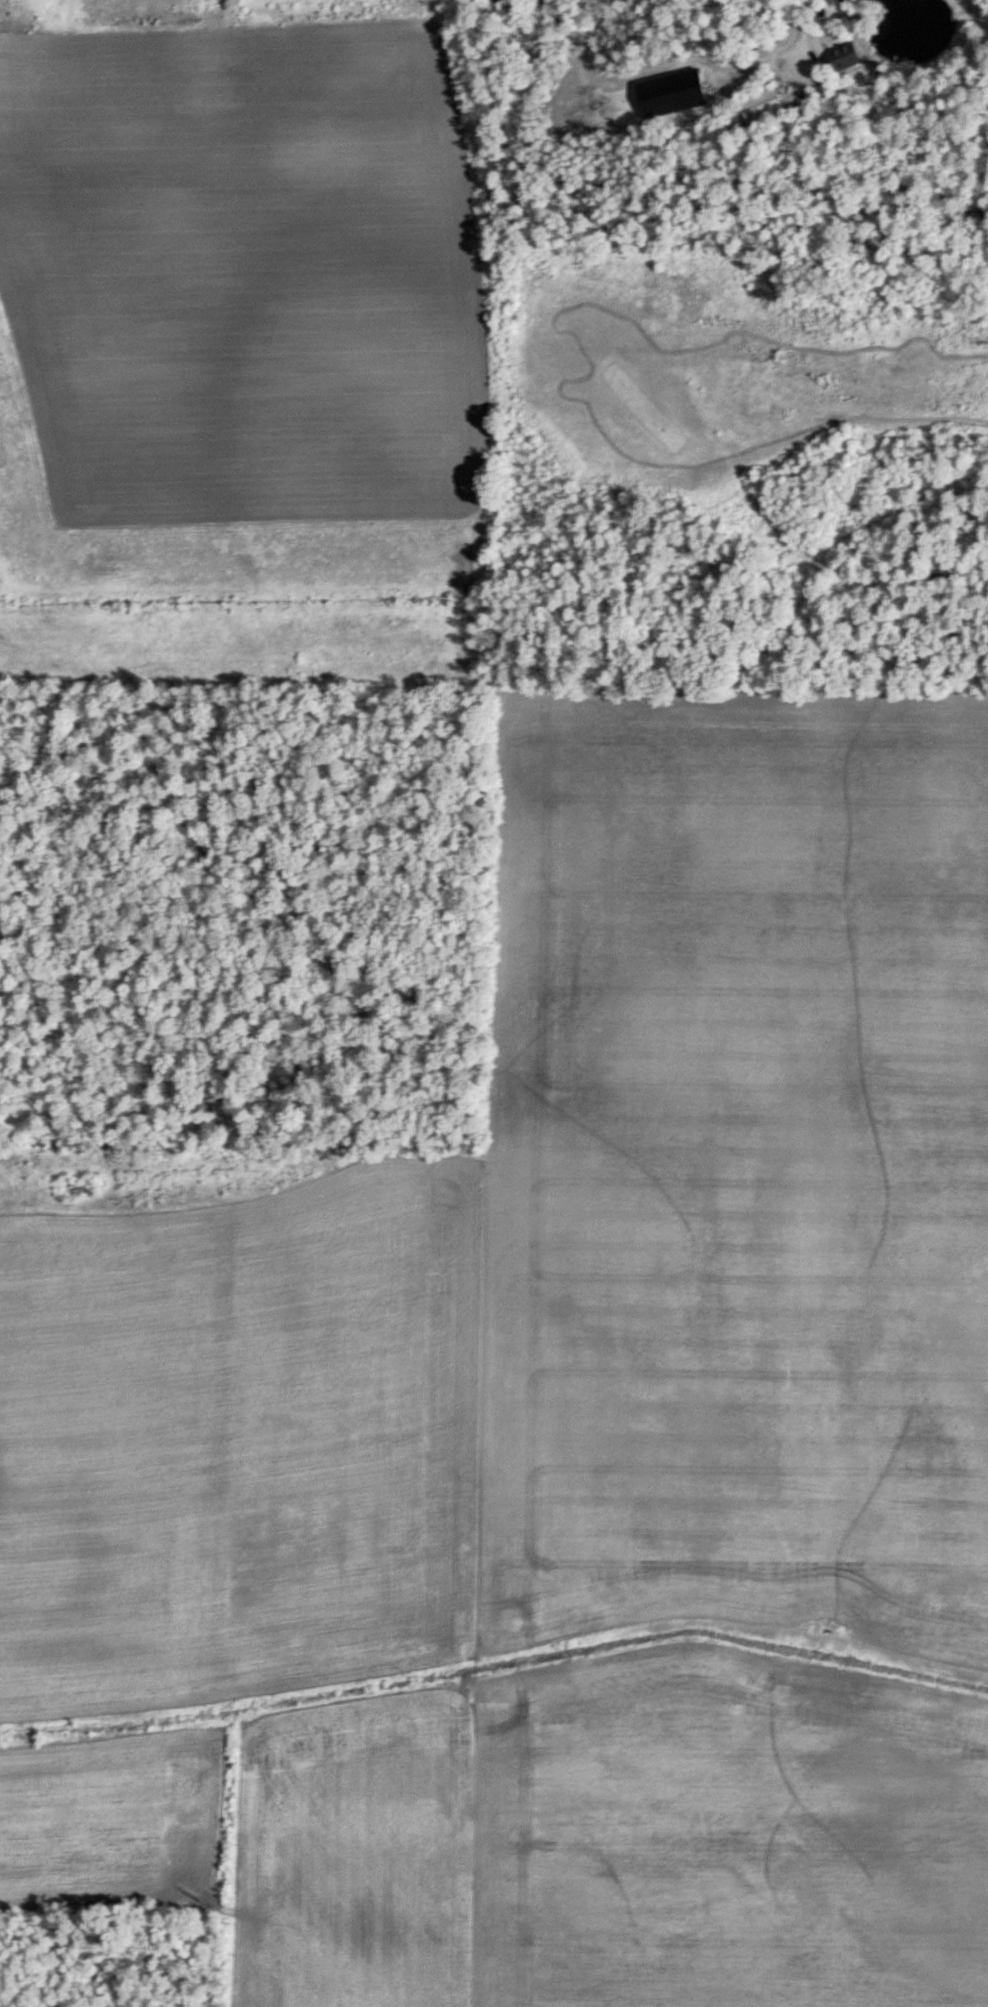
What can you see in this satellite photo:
building: (840, 56)
road: (647, 73)
building: (761, 101)

